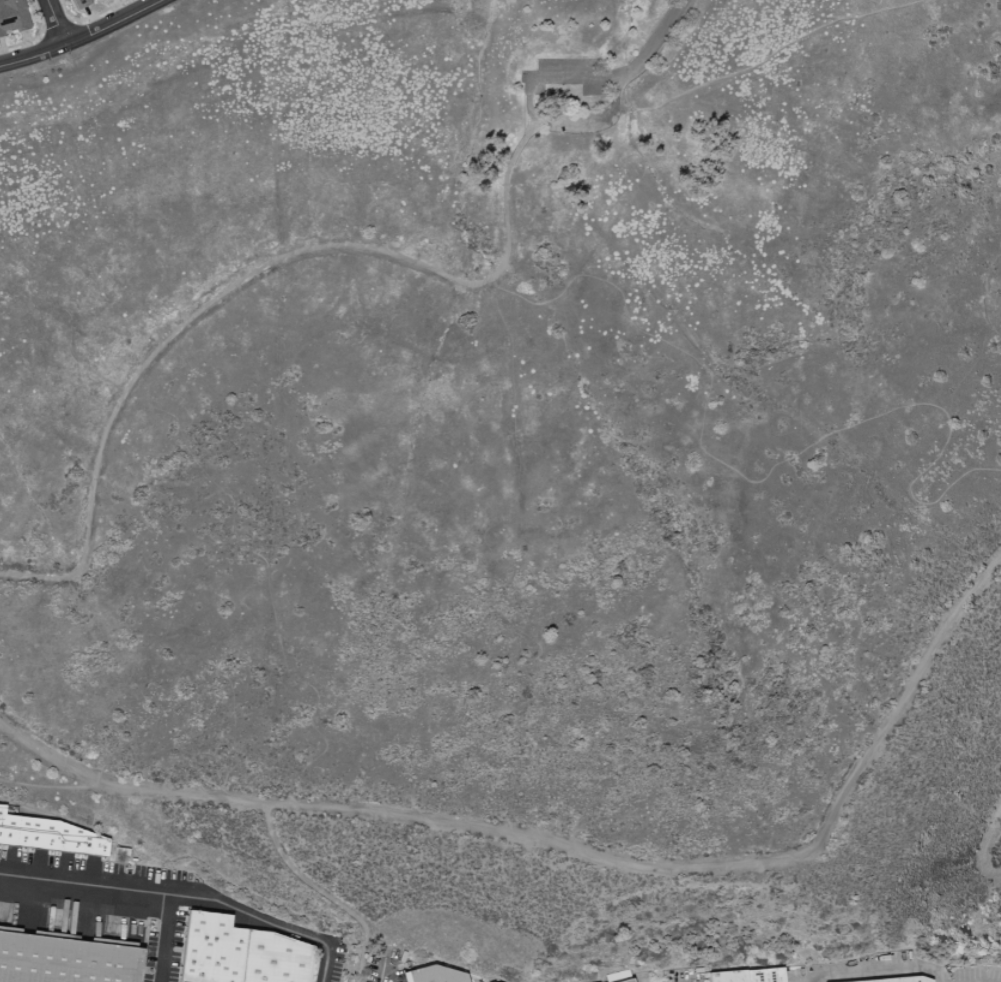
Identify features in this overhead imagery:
building: (83, 3)
building: (14, 16)
road: (856, 19)
road: (55, 23)
road: (82, 38)
road: (658, 44)
parking lot: (565, 74)
road: (730, 75)
road: (567, 79)
road: (576, 122)
road: (242, 278)
building: (50, 836)
road: (986, 845)
road: (574, 848)
road: (322, 892)
road: (185, 894)
building: (107, 915)
building: (81, 917)
road: (167, 937)
building: (239, 953)
building: (65, 960)
road: (388, 975)
building: (433, 975)
building: (765, 975)
road: (877, 976)
building: (728, 977)
road: (808, 979)
building: (898, 979)
building: (620, 980)
building: (604, 981)
building: (628, 981)

